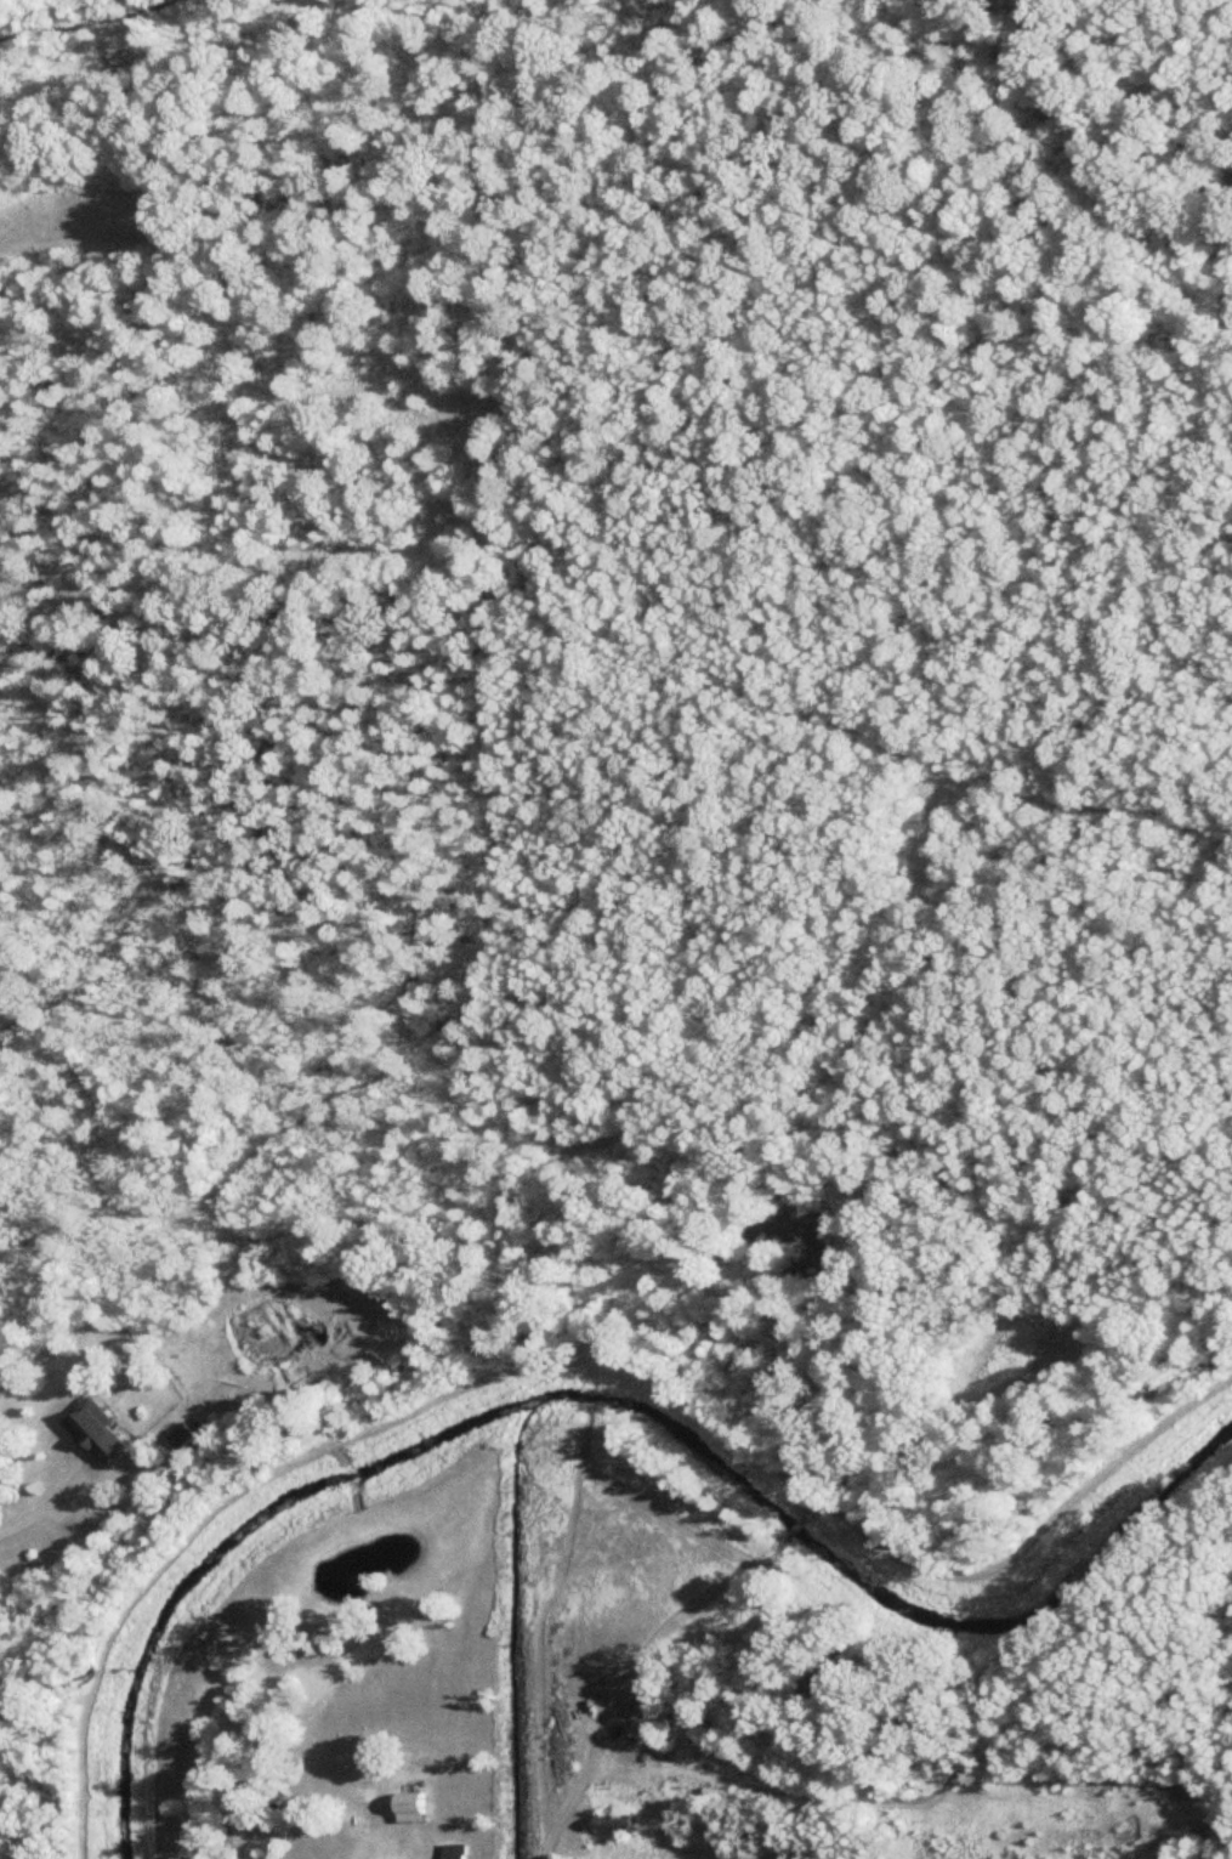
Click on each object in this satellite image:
building: (109, 1433)
building: (192, 1434)
road: (49, 1509)
road: (802, 1529)
building: (731, 1792)
building: (425, 1802)
building: (467, 1851)

